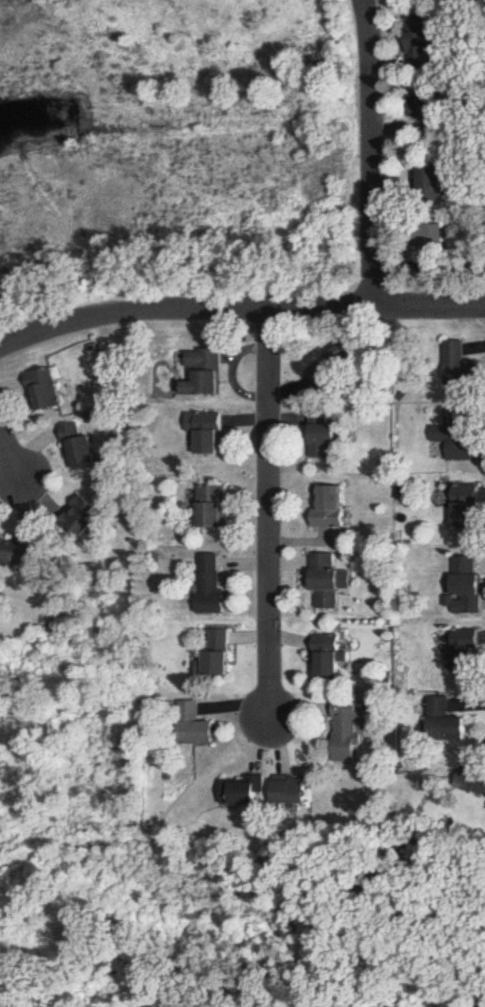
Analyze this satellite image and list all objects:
building: (424, 42)
building: (430, 113)
road: (375, 155)
building: (433, 179)
road: (239, 312)
building: (335, 365)
building: (461, 368)
building: (207, 373)
building: (46, 391)
building: (209, 432)
building: (323, 436)
building: (458, 439)
building: (82, 448)
road: (9, 460)
building: (468, 506)
building: (215, 507)
building: (331, 509)
road: (267, 513)
building: (83, 516)
building: (21, 551)
building: (327, 583)
building: (213, 584)
building: (470, 586)
building: (468, 651)
building: (221, 654)
building: (330, 656)
building: (448, 722)
building: (196, 727)
building: (349, 732)
building: (475, 782)
building: (292, 790)
building: (243, 791)

